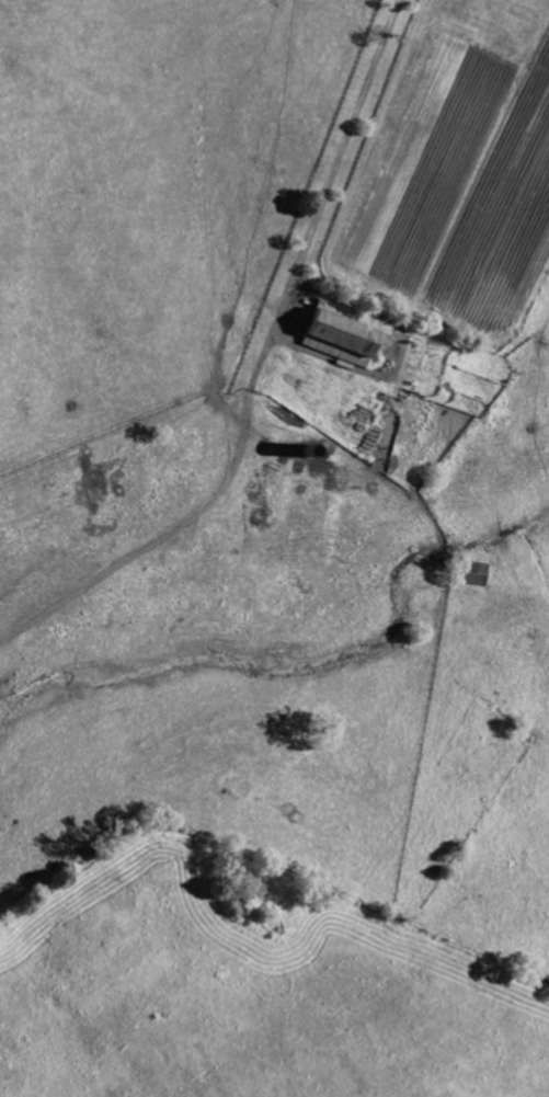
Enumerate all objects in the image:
road: (338, 159)
building: (346, 334)

